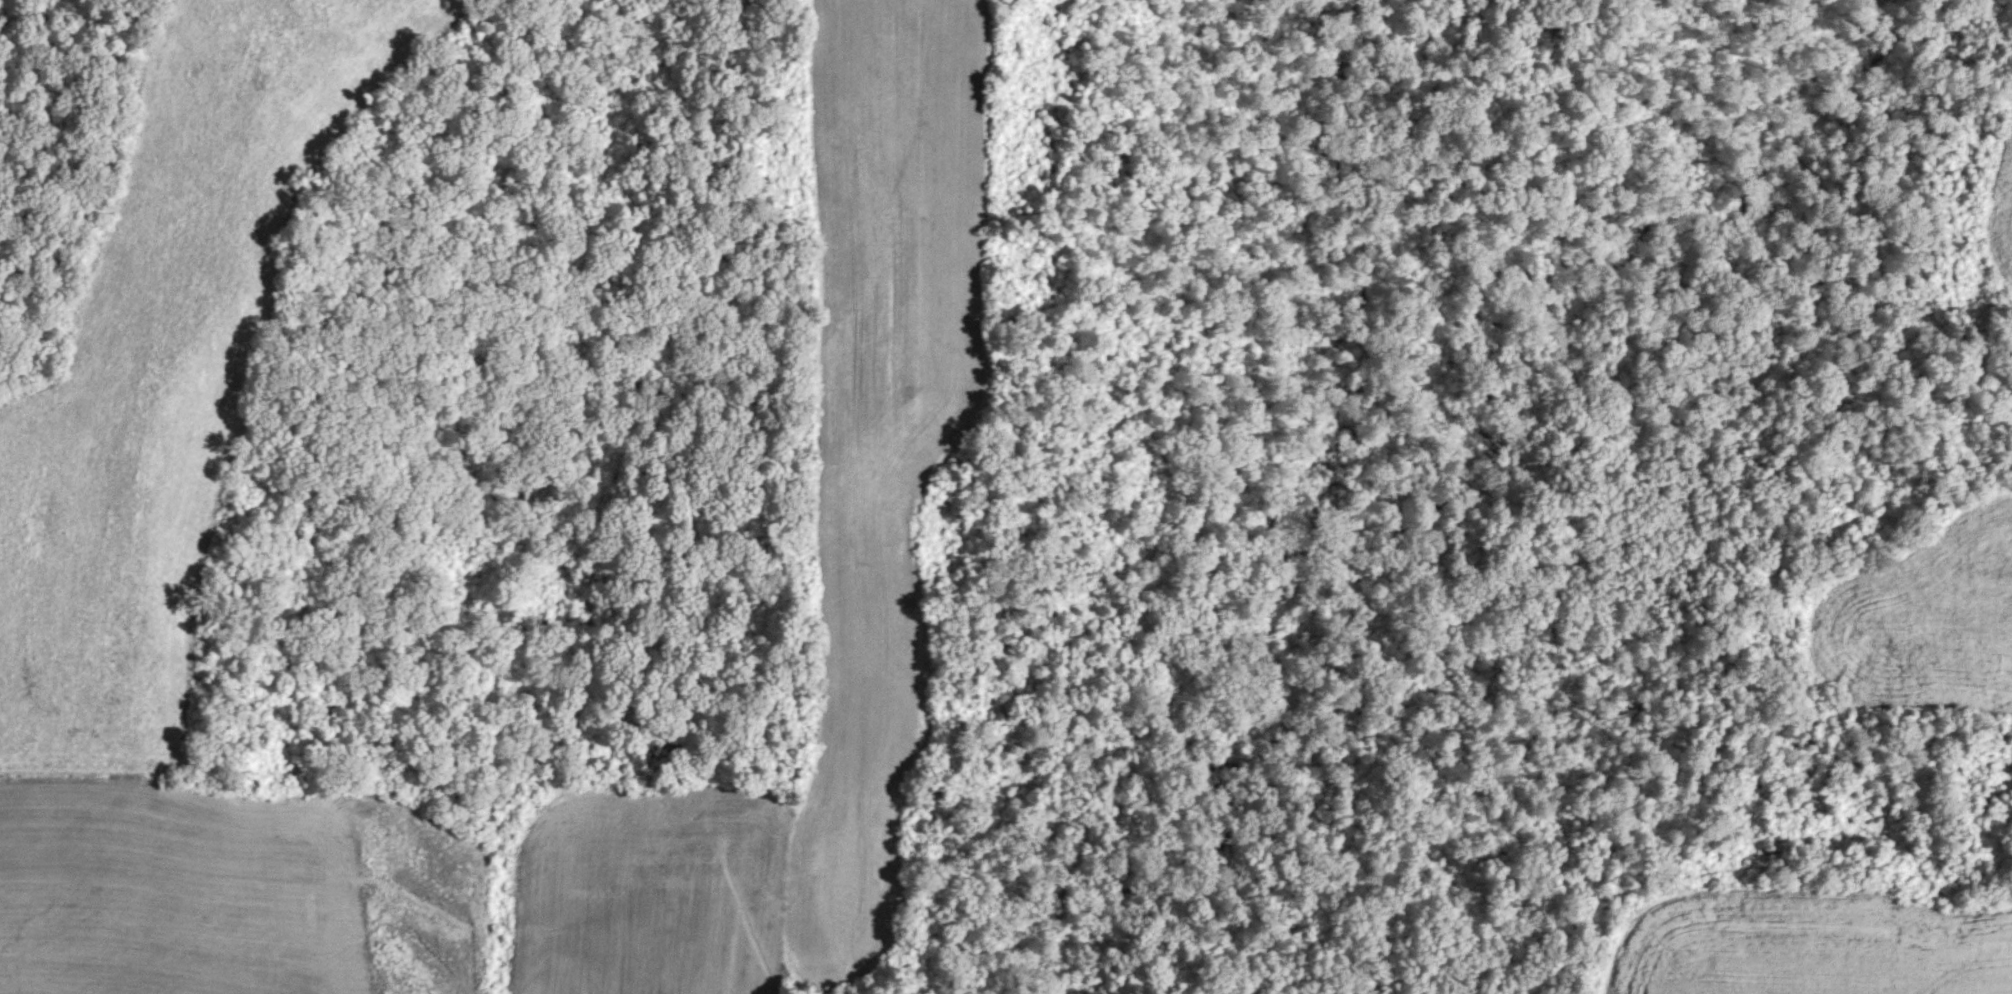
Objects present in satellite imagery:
crop: (1997, 203)
crop: (882, 425)
crop: (1921, 620)
crop: (1807, 937)

